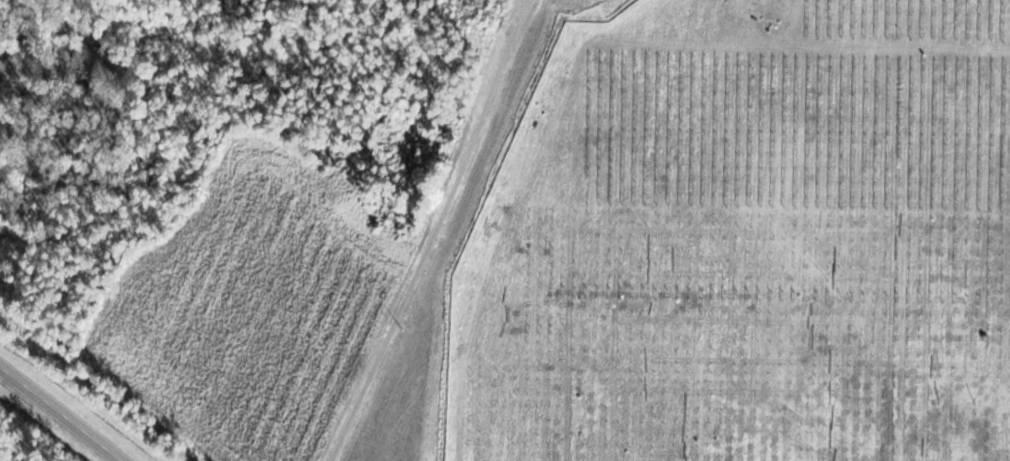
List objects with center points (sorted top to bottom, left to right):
road: (433, 232)
road: (58, 414)

